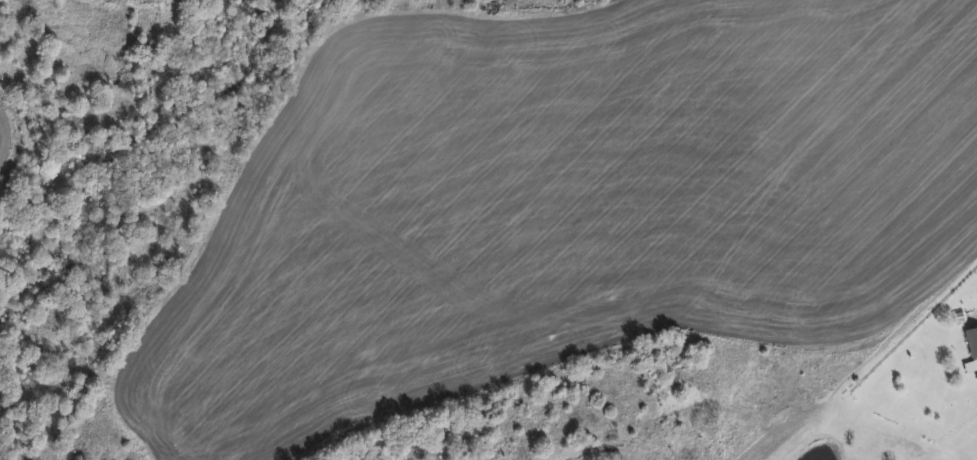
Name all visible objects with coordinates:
road: (973, 312)
building: (972, 349)

